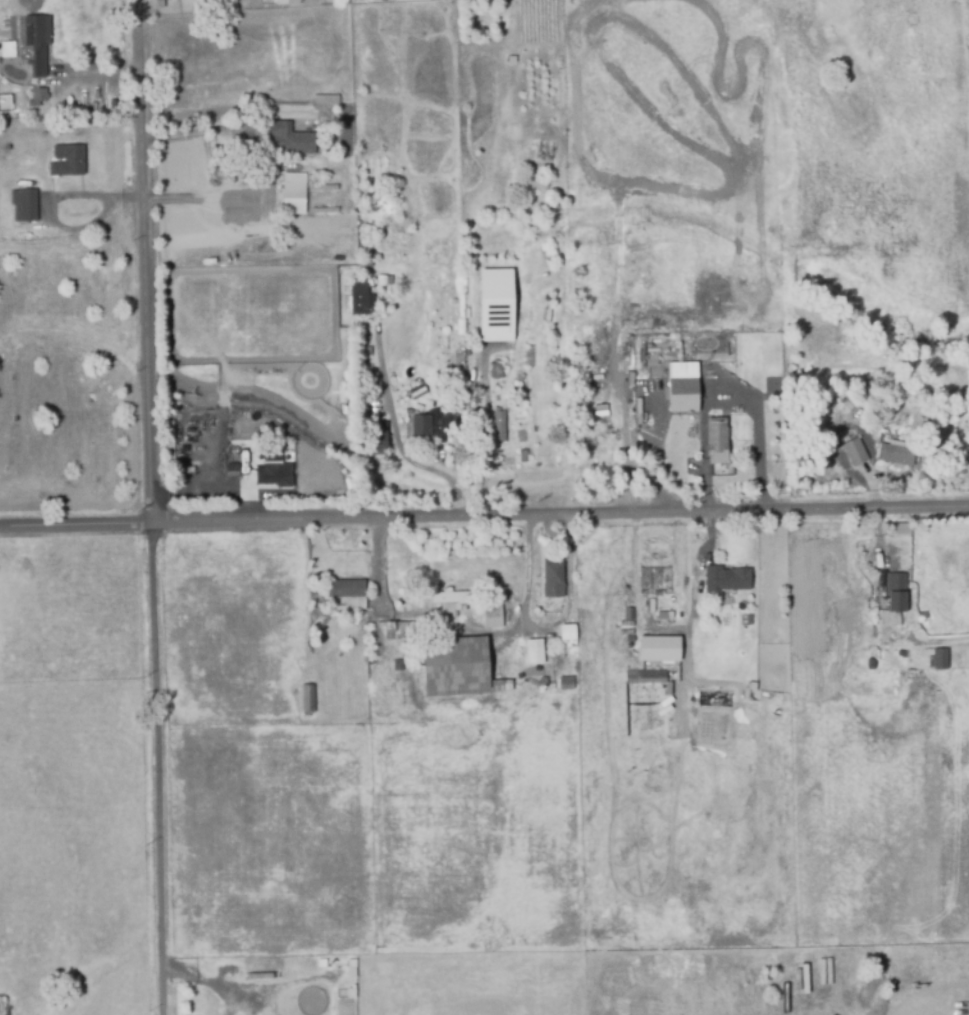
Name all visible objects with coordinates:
building: (396, 0)
building: (267, 3)
building: (283, 3)
building: (37, 45)
building: (7, 52)
building: (514, 56)
building: (38, 96)
building: (325, 100)
road: (192, 129)
building: (282, 140)
building: (66, 162)
building: (293, 186)
building: (24, 207)
road: (146, 263)
building: (361, 299)
building: (494, 304)
building: (479, 344)
building: (495, 372)
building: (683, 388)
building: (434, 424)
building: (499, 428)
road: (486, 435)
building: (171, 439)
building: (377, 439)
road: (399, 441)
road: (758, 441)
building: (717, 442)
building: (855, 453)
road: (627, 455)
building: (896, 455)
building: (243, 456)
building: (276, 466)
building: (231, 470)
building: (231, 485)
road: (484, 518)
road: (376, 565)
road: (524, 575)
building: (550, 580)
building: (724, 581)
building: (894, 593)
road: (567, 595)
building: (346, 596)
building: (451, 604)
building: (668, 613)
building: (627, 616)
building: (319, 617)
building: (752, 617)
building: (491, 618)
building: (400, 632)
building: (565, 638)
building: (627, 640)
road: (931, 642)
building: (657, 648)
building: (532, 649)
building: (899, 655)
building: (923, 661)
building: (938, 661)
building: (868, 666)
building: (454, 670)
building: (875, 674)
building: (644, 678)
building: (564, 684)
building: (544, 685)
building: (305, 700)
building: (384, 709)
road: (158, 770)
building: (937, 969)
building: (872, 971)
building: (919, 979)
building: (942, 992)

